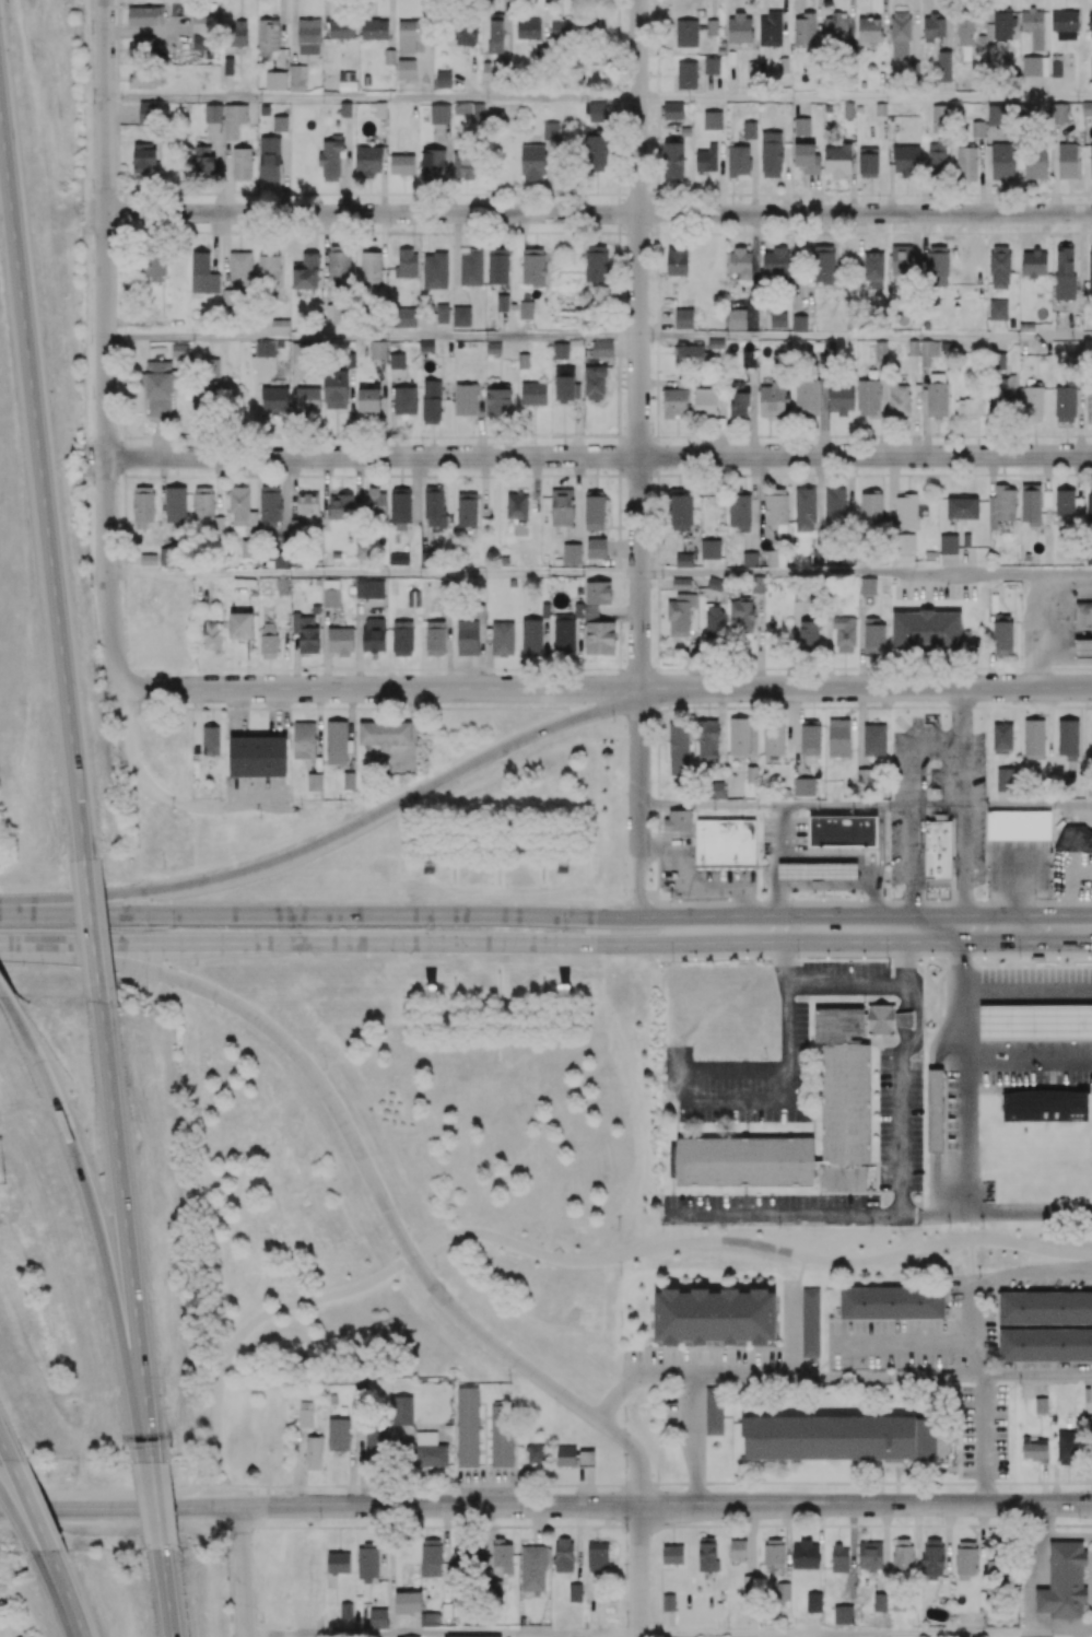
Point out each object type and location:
building: (144, 15)
building: (771, 30)
building: (784, 65)
building: (227, 66)
building: (711, 66)
building: (750, 66)
building: (685, 74)
building: (275, 81)
road: (866, 98)
road: (373, 100)
road: (107, 105)
building: (858, 108)
building: (880, 108)
building: (1087, 108)
building: (847, 109)
building: (265, 110)
building: (672, 110)
building: (212, 114)
building: (712, 119)
building: (801, 125)
building: (749, 130)
building: (269, 159)
building: (1068, 160)
building: (240, 163)
road: (599, 212)
building: (470, 268)
building: (434, 270)
building: (502, 303)
building: (997, 309)
building: (460, 316)
building: (682, 318)
building: (736, 318)
building: (777, 319)
building: (799, 323)
building: (486, 325)
road: (373, 338)
road: (866, 338)
building: (715, 343)
building: (425, 346)
building: (493, 348)
building: (601, 349)
building: (377, 350)
building: (559, 351)
building: (396, 361)
building: (521, 361)
building: (532, 394)
road: (639, 424)
road: (591, 456)
road: (92, 458)
building: (1046, 498)
building: (1030, 502)
building: (965, 539)
building: (948, 543)
building: (709, 549)
building: (146, 559)
building: (750, 559)
building: (683, 560)
road: (388, 573)
road: (866, 573)
building: (680, 584)
building: (867, 584)
building: (413, 598)
building: (1083, 616)
road: (174, 630)
building: (467, 638)
building: (1082, 650)
road: (149, 663)
road: (381, 688)
road: (866, 688)
road: (1048, 717)
road: (962, 718)
building: (838, 738)
building: (874, 738)
building: (303, 740)
road: (937, 750)
building: (257, 759)
road: (911, 777)
building: (313, 782)
building: (803, 786)
building: (785, 792)
building: (937, 792)
road: (178, 797)
road: (1005, 798)
road: (774, 804)
road: (1001, 806)
building: (679, 825)
building: (1019, 827)
building: (842, 831)
road: (962, 839)
building: (1075, 842)
building: (726, 845)
road: (881, 845)
building: (939, 852)
road: (853, 857)
road: (774, 866)
street lamp: (163, 867)
road: (911, 867)
building: (818, 873)
road: (639, 884)
street lamp: (986, 894)
street lamp: (1057, 897)
street lamp: (893, 898)
street lamp: (1035, 898)
street lamp: (791, 899)
street lamp: (670, 901)
road: (84, 912)
traffic signals: (192, 913)
road: (271, 913)
road: (485, 914)
road: (620, 917)
road: (693, 921)
street lamp: (172, 927)
street lamp: (292, 927)
road: (169, 928)
street lamp: (433, 928)
road: (884, 928)
road: (1058, 928)
street lamp: (565, 929)
road: (692, 940)
road: (244, 944)
road: (456, 944)
road: (85, 945)
traffic signals: (139, 945)
road: (618, 946)
road: (903, 957)
street lamp: (798, 958)
street lamp: (888, 958)
street lamp: (1021, 959)
street lamp: (673, 961)
traffic signals: (173, 984)
street lamp: (150, 991)
road: (961, 993)
road: (1026, 993)
building: (881, 1020)
building: (905, 1021)
building: (1036, 1025)
building: (841, 1026)
parking lot: (1035, 1026)
road: (787, 1063)
road: (181, 1066)
street lamp: (326, 1066)
road: (963, 1072)
building: (1046, 1108)
building: (936, 1111)
building: (847, 1118)
parking lot: (900, 1122)
road: (900, 1148)
building: (745, 1162)
street lamp: (4, 1183)
road: (996, 1213)
road: (459, 1230)
road: (202, 1236)
street lamp: (434, 1265)
road: (989, 1279)
road: (281, 1282)
road: (903, 1341)
road: (889, 1375)
road: (688, 1385)
street lamp: (165, 1395)
road: (984, 1439)
road: (5, 1449)
road: (635, 1452)
road: (236, 1460)
street lamp: (659, 1478)
road: (866, 1504)
road: (320, 1506)
traffic signals: (244, 1507)
road: (30, 1510)
street lamp: (1079, 1520)
road: (24, 1524)
road: (545, 1527)
street lamp: (21, 1558)
street lamp: (183, 1560)
road: (274, 1560)
road: (641, 1570)
road: (62, 1598)
street lamp: (236, 1606)
road: (866, 1634)
road: (473, 1636)

